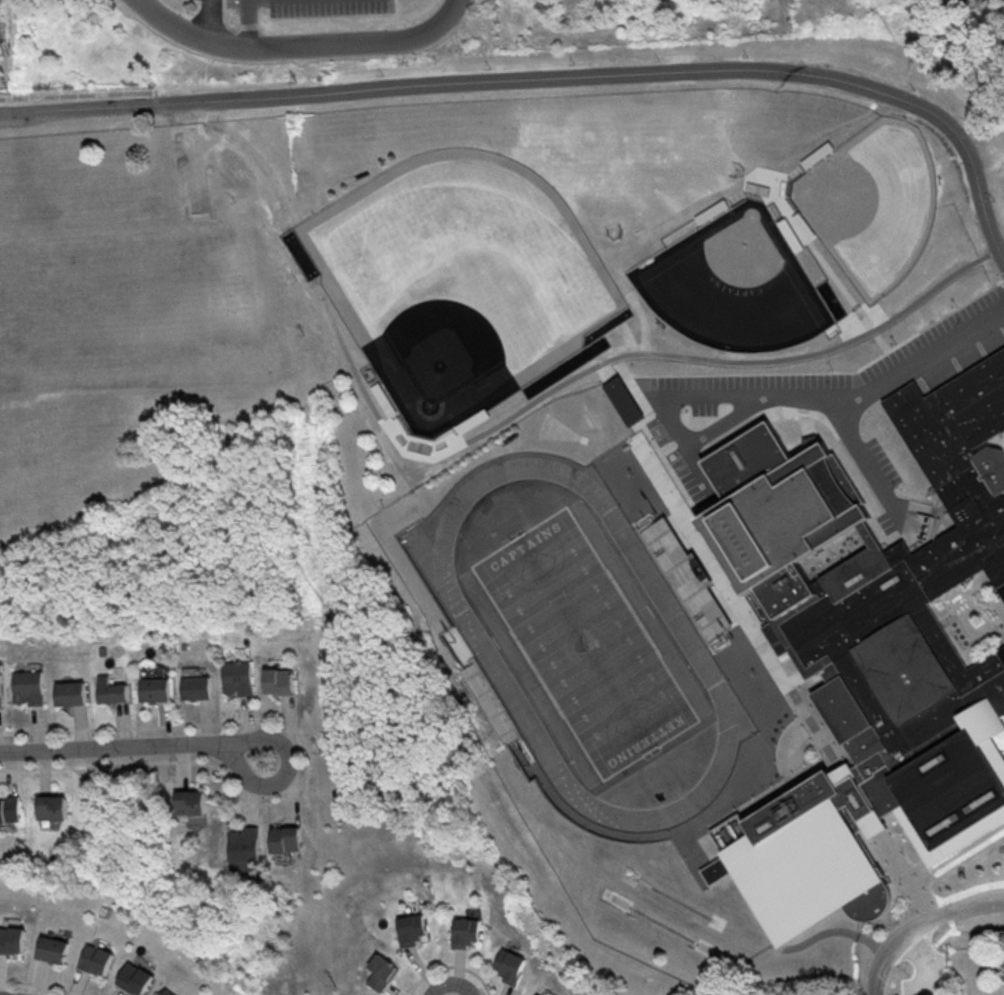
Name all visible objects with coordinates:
road: (204, 19)
road: (250, 23)
road: (299, 44)
road: (553, 76)
road: (83, 93)
park: (625, 147)
park: (879, 213)
road: (828, 277)
park: (739, 290)
park: (462, 299)
road: (320, 301)
park: (118, 315)
road: (704, 366)
parking lot: (855, 373)
building: (625, 406)
road: (845, 408)
building: (395, 411)
park: (592, 424)
road: (728, 428)
road: (674, 429)
building: (458, 431)
park: (558, 438)
road: (866, 471)
road: (702, 476)
parking lot: (696, 484)
building: (777, 512)
building: (686, 584)
road: (736, 610)
track: (477, 650)
park: (584, 650)
park: (585, 651)
building: (235, 677)
building: (277, 678)
building: (894, 683)
building: (28, 686)
building: (194, 687)
building: (152, 689)
building: (109, 690)
road: (808, 690)
building: (0, 693)
building: (69, 693)
building: (489, 710)
road: (1002, 731)
road: (134, 747)
building: (190, 806)
building: (51, 807)
building: (9, 809)
building: (283, 839)
road: (678, 839)
building: (241, 844)
road: (956, 859)
track: (673, 906)
park: (672, 907)
road: (918, 907)
building: (401, 929)
road: (924, 930)
building: (458, 931)
park: (660, 932)
track: (662, 933)
building: (11, 939)
road: (828, 942)
building: (49, 949)
building: (91, 959)
building: (503, 966)
building: (370, 972)
building: (130, 978)
road: (449, 982)
building: (162, 992)
building: (532, 994)

